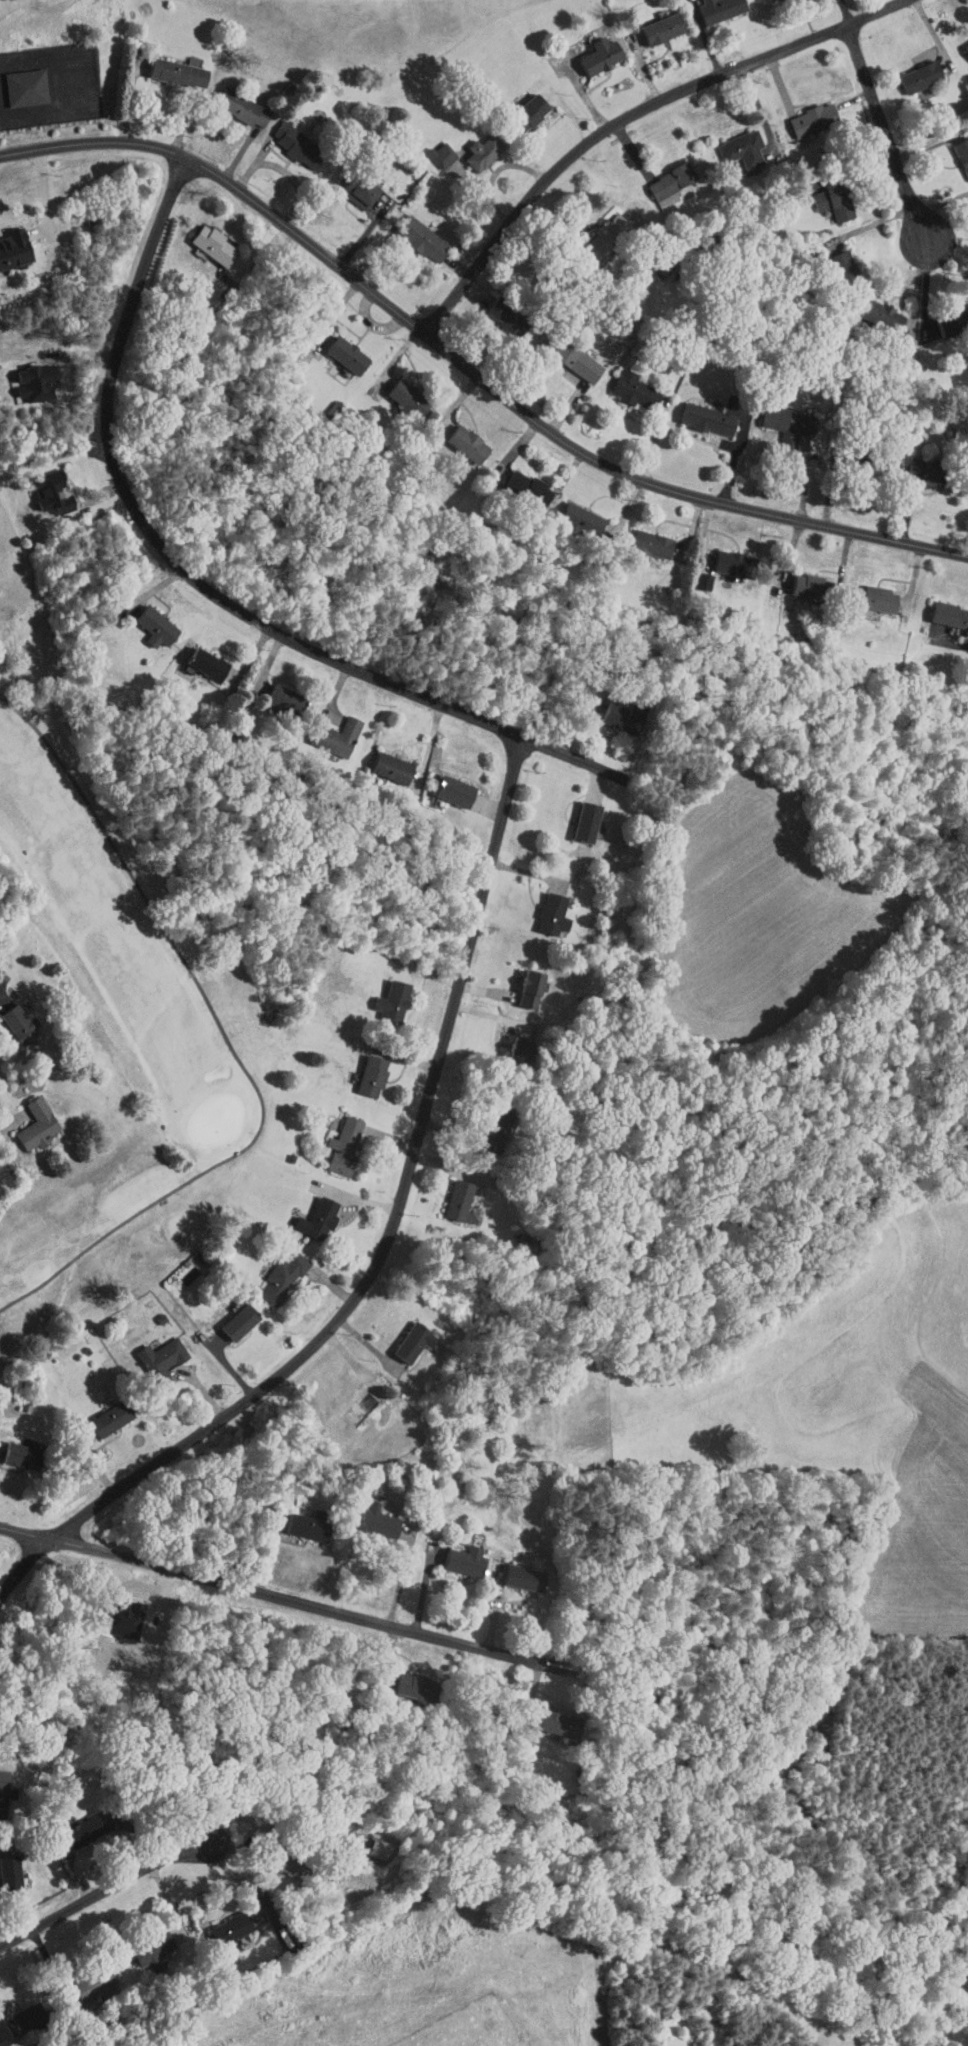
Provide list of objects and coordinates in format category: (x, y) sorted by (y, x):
building: (709, 6)
building: (652, 22)
building: (962, 42)
building: (590, 49)
building: (167, 66)
building: (909, 70)
building: (17, 81)
building: (231, 101)
building: (518, 105)
building: (802, 113)
road: (633, 116)
road: (888, 135)
building: (286, 137)
building: (732, 142)
building: (471, 146)
building: (431, 148)
building: (957, 150)
building: (660, 174)
building: (348, 182)
road: (42, 192)
building: (823, 195)
road: (941, 203)
building: (412, 232)
building: (203, 239)
building: (7, 241)
building: (831, 260)
building: (871, 308)
building: (495, 311)
building: (336, 348)
building: (566, 354)
road: (469, 363)
building: (24, 375)
building: (623, 383)
building: (397, 391)
building: (697, 413)
building: (779, 419)
building: (457, 437)
building: (913, 462)
building: (517, 481)
building: (41, 485)
building: (571, 513)
building: (638, 539)
building: (719, 556)
building: (692, 574)
building: (796, 579)
road: (203, 583)
building: (864, 592)
building: (941, 608)
building: (146, 621)
road: (947, 642)
building: (196, 658)
building: (274, 692)
building: (611, 714)
building: (326, 730)
building: (380, 762)
building: (443, 785)
building: (576, 816)
building: (542, 908)
building: (520, 983)
building: (382, 995)
building: (11, 1020)
building: (509, 1038)
building: (361, 1070)
road: (9, 1117)
building: (26, 1119)
building: (482, 1130)
building: (333, 1139)
building: (449, 1195)
building: (307, 1213)
road: (384, 1250)
building: (272, 1271)
building: (228, 1316)
building: (403, 1337)
building: (151, 1355)
building: (100, 1411)
building: (7, 1447)
building: (367, 1513)
building: (297, 1519)
building: (454, 1553)
building: (512, 1571)
road: (264, 1592)
building: (405, 1680)
building: (542, 1715)
building: (73, 1824)
building: (367, 1843)
building: (4, 1869)
road: (110, 1888)
building: (219, 1924)
building: (141, 1942)
building: (3, 2022)

